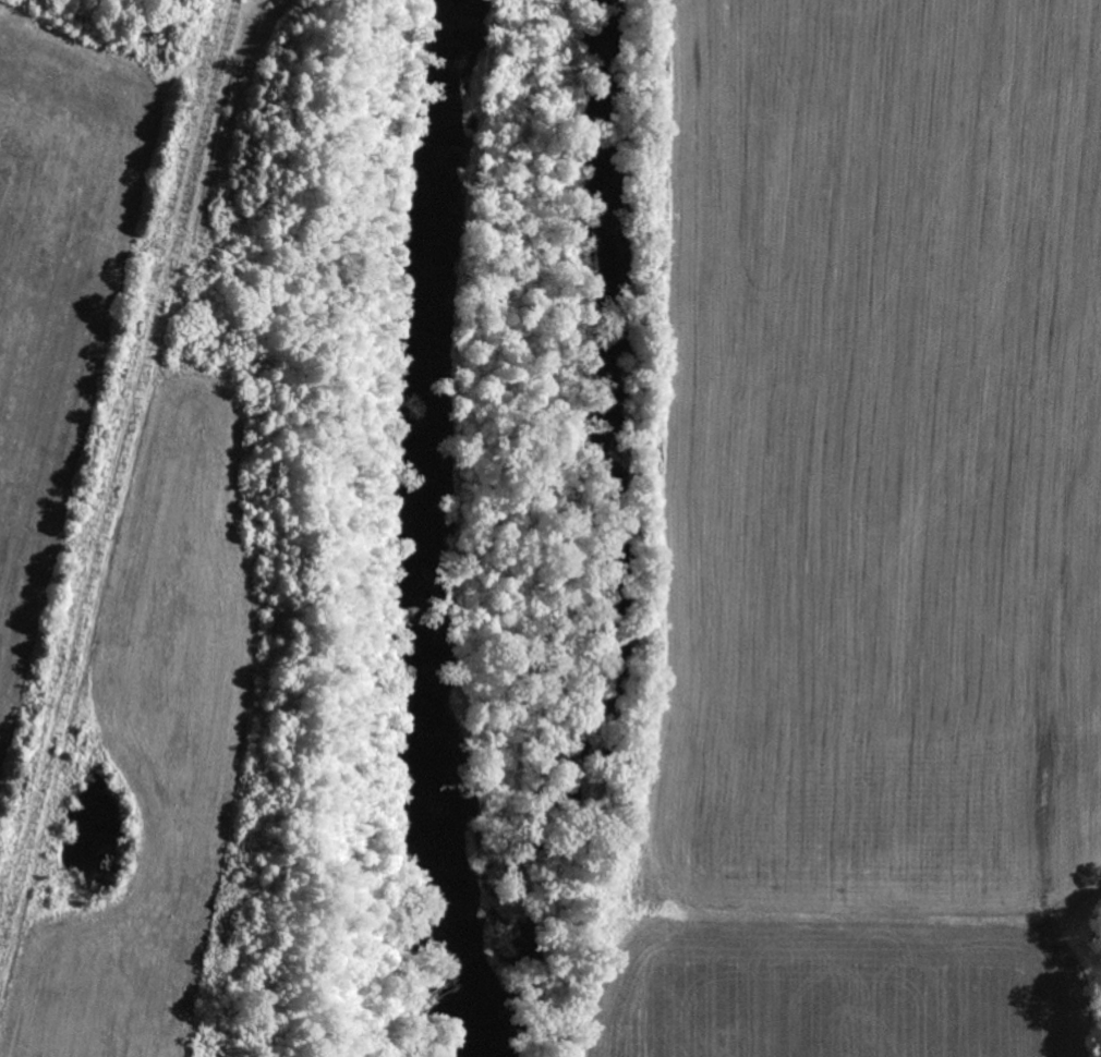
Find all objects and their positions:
river: (425, 527)

